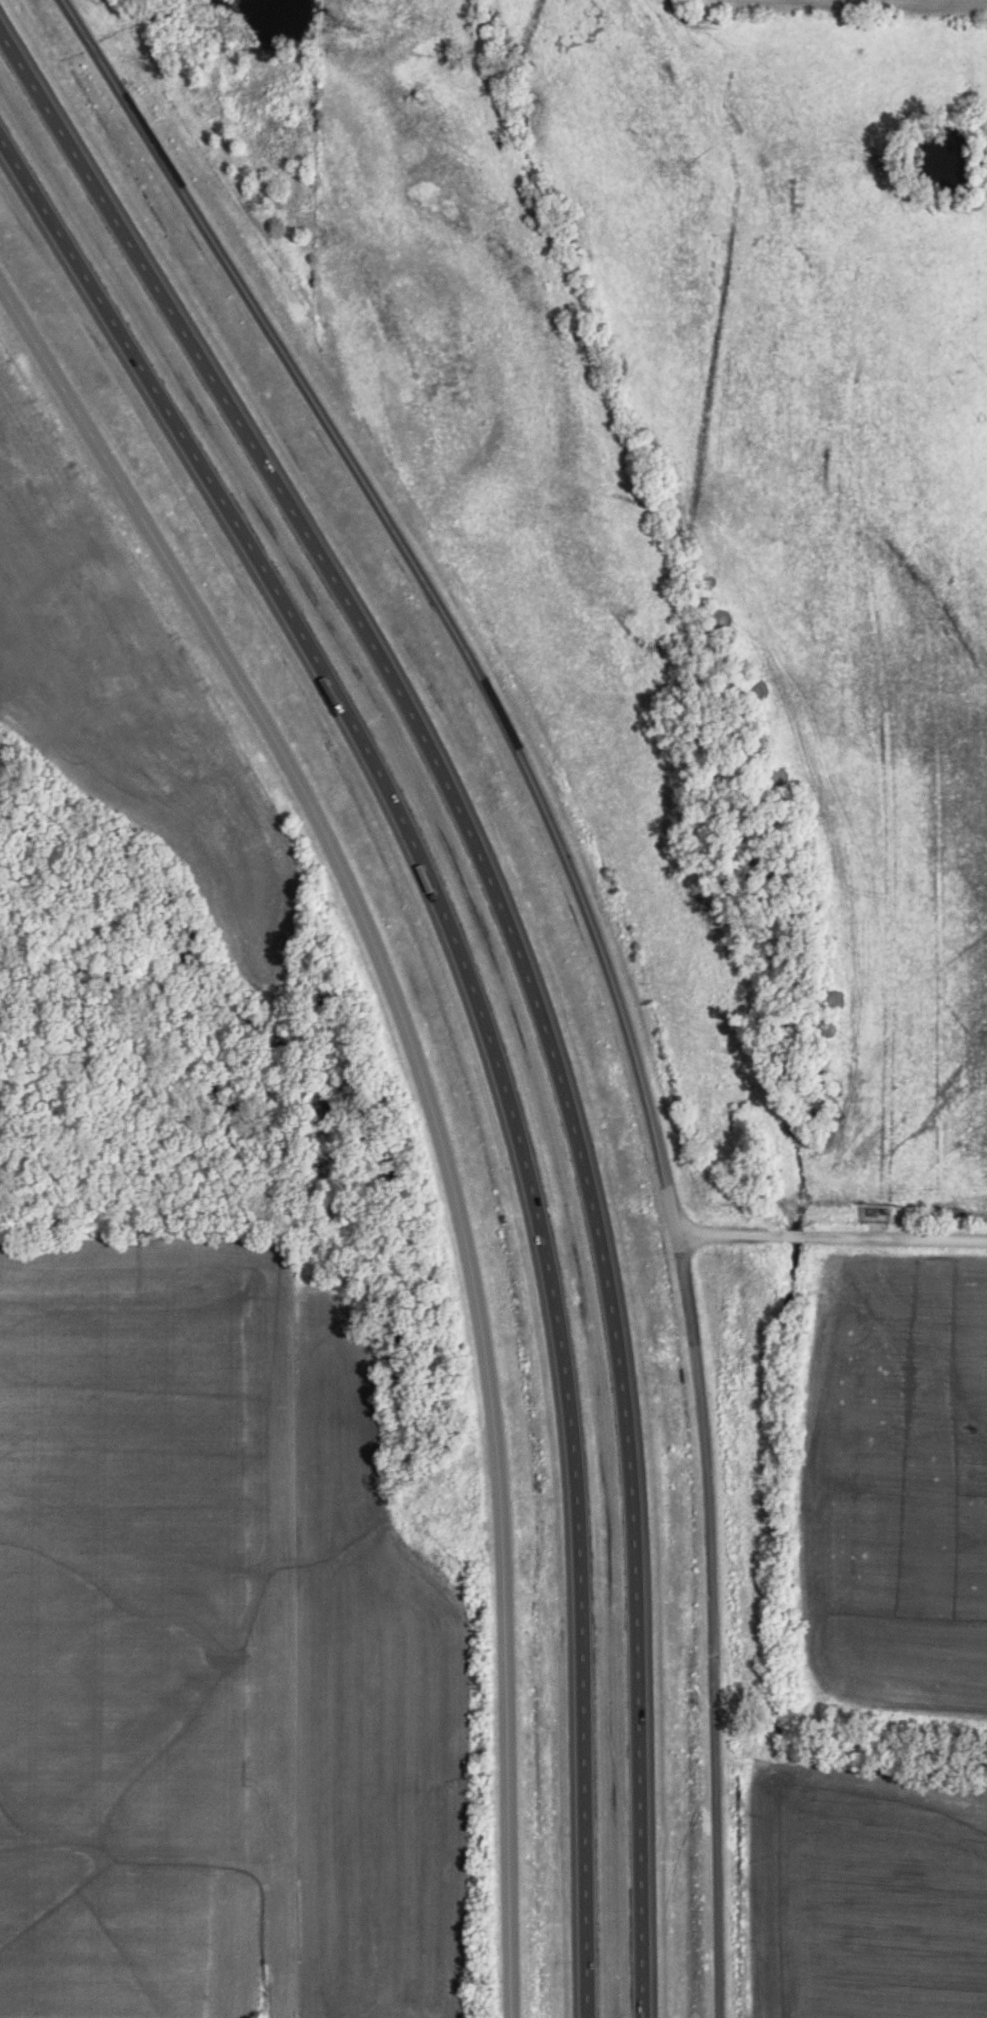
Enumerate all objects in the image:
road: (597, 944)
road: (525, 961)
road: (483, 1021)
road: (432, 1099)
road: (833, 1240)

